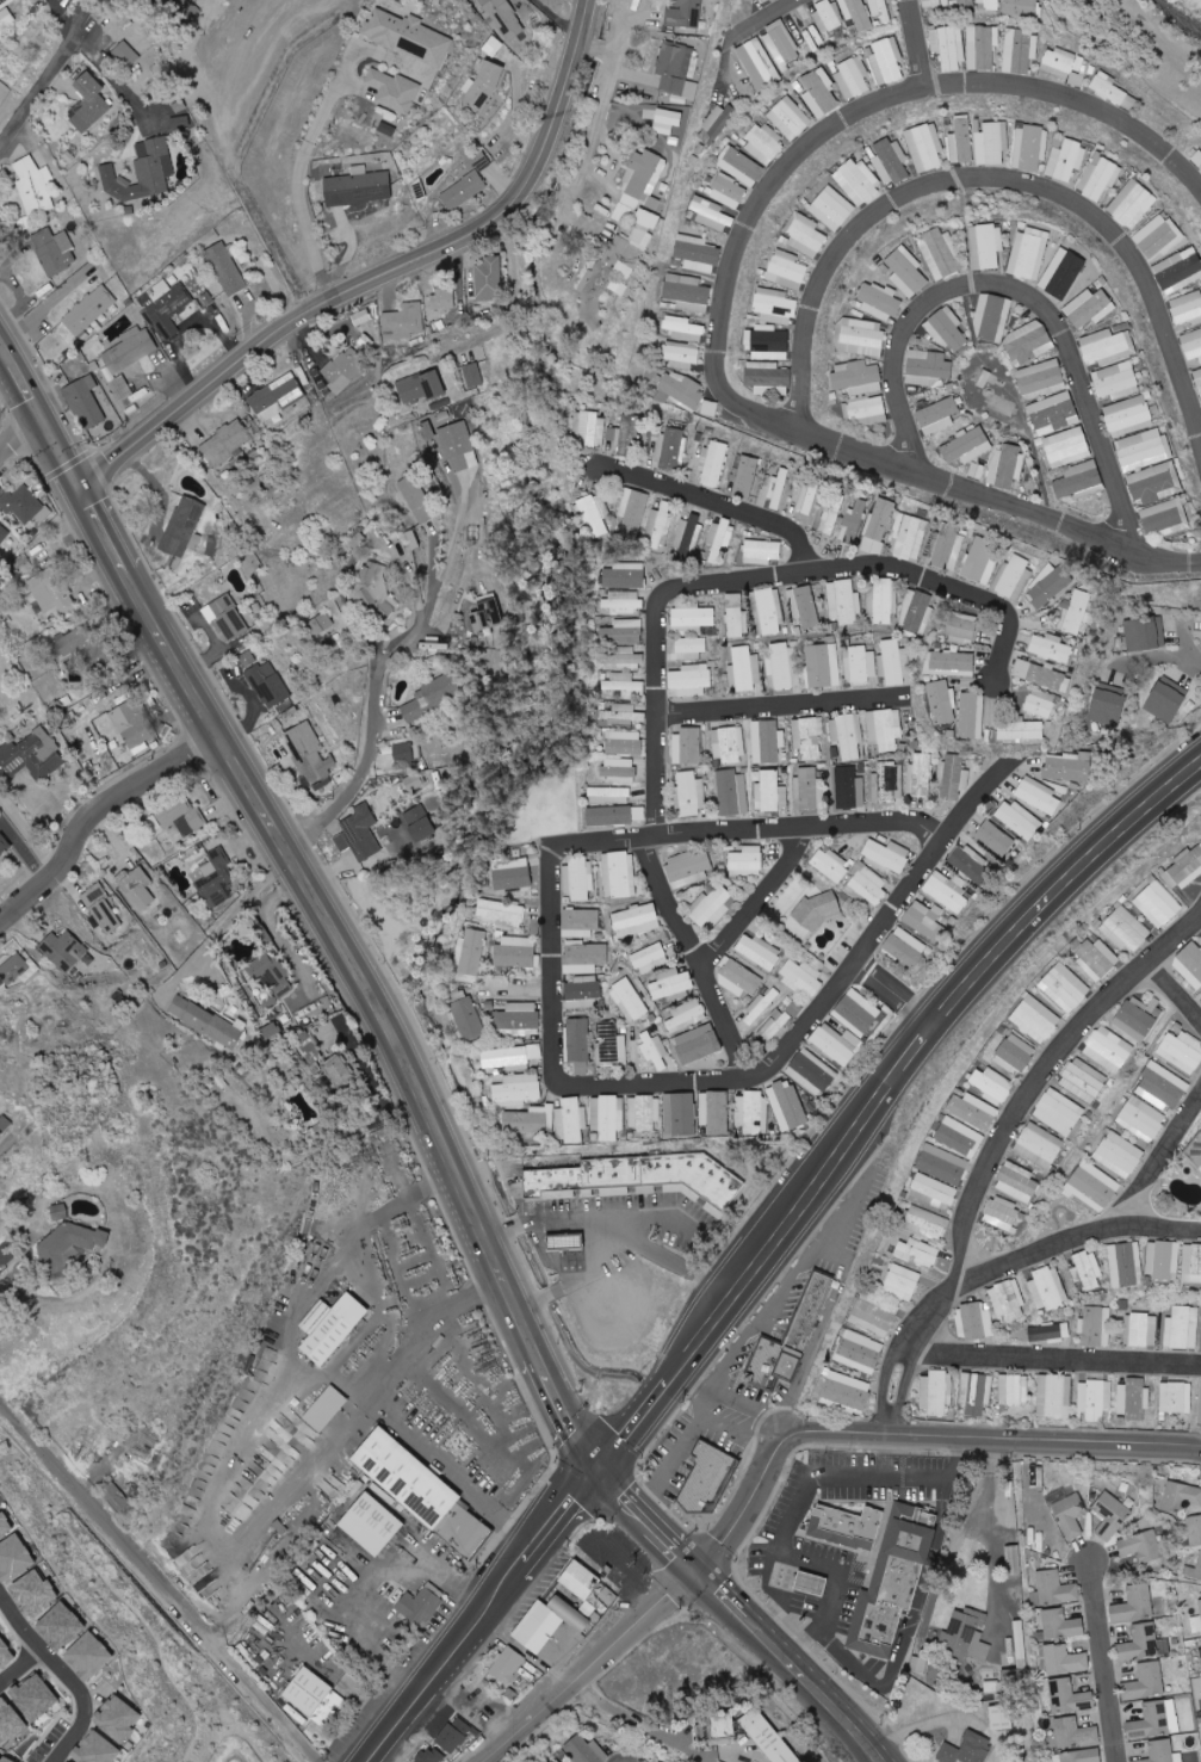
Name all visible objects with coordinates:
building: (766, 1)
building: (4, 2)
road: (82, 2)
building: (965, 2)
building: (931, 4)
building: (989, 5)
building: (1021, 7)
building: (880, 10)
road: (556, 13)
road: (576, 13)
building: (856, 13)
building: (685, 14)
building: (827, 16)
road: (778, 18)
building: (408, 36)
building: (782, 45)
building: (948, 45)
building: (982, 45)
road: (920, 47)
building: (1020, 50)
building: (125, 54)
building: (885, 60)
road: (104, 62)
building: (1058, 62)
building: (759, 64)
road: (43, 73)
building: (852, 76)
building: (482, 86)
building: (394, 89)
building: (1112, 91)
building: (819, 92)
building: (89, 103)
road: (872, 112)
building: (790, 117)
building: (667, 120)
building: (716, 123)
road: (595, 130)
building: (961, 140)
building: (991, 142)
building: (763, 143)
building: (925, 147)
building: (1029, 147)
road: (233, 157)
building: (1066, 160)
building: (890, 161)
building: (741, 166)
building: (141, 172)
building: (1100, 177)
road: (997, 178)
building: (643, 179)
road: (299, 181)
building: (468, 181)
building: (858, 181)
building: (32, 186)
building: (358, 187)
building: (728, 190)
building: (1132, 204)
building: (832, 208)
building: (711, 214)
building: (805, 234)
building: (1157, 236)
building: (986, 246)
building: (56, 252)
building: (698, 253)
building: (940, 253)
building: (1029, 253)
building: (227, 268)
building: (611, 270)
building: (624, 270)
building: (786, 270)
building: (1178, 270)
building: (906, 272)
building: (1064, 274)
building: (489, 278)
road: (374, 285)
building: (687, 292)
road: (1026, 296)
building: (442, 298)
road: (258, 299)
road: (516, 301)
building: (879, 301)
building: (166, 307)
building: (1089, 308)
building: (1187, 308)
road: (43, 310)
building: (89, 310)
building: (991, 317)
building: (403, 321)
building: (685, 329)
building: (947, 329)
building: (860, 336)
building: (769, 342)
building: (1028, 342)
road: (230, 344)
building: (1191, 344)
building: (1107, 346)
building: (130, 350)
building: (681, 357)
building: (928, 367)
building: (343, 369)
road: (173, 370)
building: (472, 375)
building: (858, 377)
building: (1199, 377)
building: (768, 378)
building: (1041, 379)
building: (1116, 381)
building: (420, 387)
building: (123, 390)
building: (680, 390)
building: (277, 397)
building: (85, 402)
building: (866, 410)
building: (1053, 413)
building: (937, 415)
building: (589, 428)
road: (19, 434)
building: (612, 434)
building: (629, 437)
building: (224, 444)
building: (458, 446)
building: (967, 446)
building: (1066, 447)
building: (671, 450)
building: (1144, 450)
building: (714, 464)
building: (1005, 465)
building: (745, 477)
building: (1081, 481)
building: (1154, 482)
building: (778, 490)
road: (970, 490)
road: (159, 491)
building: (809, 497)
building: (415, 499)
building: (24, 506)
road: (720, 506)
building: (632, 511)
building: (832, 513)
building: (593, 515)
building: (1165, 519)
building: (854, 521)
building: (878, 525)
building: (660, 526)
building: (182, 531)
building: (4, 533)
building: (687, 534)
building: (720, 537)
building: (910, 537)
building: (948, 549)
building: (761, 551)
building: (978, 558)
building: (625, 575)
building: (1014, 576)
building: (370, 581)
road: (749, 582)
road: (949, 587)
building: (1048, 587)
building: (52, 592)
building: (884, 600)
building: (621, 601)
building: (843, 602)
building: (803, 605)
building: (1076, 611)
building: (916, 612)
building: (736, 616)
building: (485, 617)
building: (693, 617)
building: (227, 618)
building: (320, 623)
building: (961, 627)
building: (1162, 630)
building: (623, 632)
building: (1141, 633)
road: (1193, 641)
building: (89, 644)
building: (688, 649)
building: (624, 657)
building: (248, 659)
building: (893, 662)
building: (860, 664)
building: (823, 666)
building: (782, 668)
building: (744, 669)
building: (1041, 675)
road: (379, 680)
building: (691, 680)
building: (268, 684)
building: (625, 685)
building: (428, 699)
building: (1166, 699)
building: (941, 701)
building: (1040, 703)
road: (259, 707)
building: (1107, 707)
road: (664, 709)
road: (788, 711)
building: (623, 713)
building: (970, 716)
building: (134, 724)
building: (884, 729)
building: (1020, 730)
building: (847, 735)
building: (807, 736)
building: (767, 741)
building: (624, 742)
building: (728, 744)
building: (687, 747)
building: (309, 752)
building: (403, 753)
building: (31, 755)
building: (1067, 766)
building: (619, 771)
building: (918, 775)
building: (952, 777)
building: (887, 783)
building: (810, 789)
building: (732, 792)
building: (772, 792)
building: (692, 793)
building: (612, 796)
building: (1039, 796)
road: (95, 809)
building: (607, 815)
building: (181, 817)
building: (1017, 820)
building: (419, 823)
road: (767, 833)
road: (961, 833)
building: (359, 834)
building: (995, 839)
building: (4, 845)
building: (886, 855)
building: (745, 861)
building: (830, 865)
building: (971, 865)
building: (688, 868)
building: (1183, 868)
road: (307, 877)
building: (510, 878)
building: (216, 879)
building: (581, 879)
building: (866, 884)
building: (138, 889)
building: (947, 891)
road: (764, 902)
building: (1157, 904)
building: (713, 908)
building: (101, 909)
building: (818, 911)
building: (500, 913)
building: (924, 920)
building: (636, 921)
building: (580, 922)
road: (227, 925)
building: (1125, 929)
building: (905, 947)
building: (62, 951)
building: (759, 951)
building: (516, 952)
building: (471, 956)
building: (583, 957)
road: (556, 958)
building: (650, 958)
road: (705, 958)
building: (1095, 958)
building: (1190, 964)
building: (13, 969)
building: (271, 976)
building: (738, 978)
building: (800, 978)
building: (670, 984)
road: (1177, 987)
building: (1064, 988)
building: (582, 993)
road: (899, 994)
road: (832, 995)
building: (629, 1000)
building: (855, 1013)
building: (687, 1016)
building: (469, 1018)
building: (518, 1019)
building: (1035, 1019)
building: (1135, 1019)
building: (208, 1021)
building: (778, 1022)
building: (836, 1043)
building: (578, 1044)
building: (609, 1045)
building: (698, 1046)
road: (921, 1049)
building: (1108, 1049)
building: (655, 1051)
building: (1181, 1051)
building: (1015, 1055)
building: (512, 1057)
building: (336, 1069)
building: (811, 1071)
road: (1048, 1078)
building: (1083, 1080)
road: (655, 1084)
building: (991, 1084)
building: (1163, 1084)
building: (518, 1089)
building: (787, 1106)
building: (972, 1109)
building: (714, 1112)
building: (1059, 1112)
building: (594, 1113)
building: (643, 1113)
building: (680, 1114)
building: (611, 1118)
building: (1141, 1119)
building: (528, 1121)
building: (571, 1121)
building: (4, 1126)
building: (959, 1137)
building: (1040, 1145)
building: (1120, 1154)
building: (1195, 1154)
building: (942, 1164)
road: (1163, 1173)
building: (644, 1176)
building: (1016, 1181)
building: (1094, 1186)
building: (674, 1188)
building: (934, 1192)
road: (823, 1211)
building: (1002, 1213)
road: (595, 1218)
road: (619, 1218)
road: (371, 1222)
building: (925, 1223)
building: (568, 1239)
gas station: (568, 1239)
building: (69, 1241)
building: (917, 1253)
parking lot: (621, 1255)
building: (1163, 1260)
building: (1191, 1263)
building: (1126, 1265)
road: (996, 1268)
building: (1087, 1271)
building: (902, 1281)
road: (7, 1285)
building: (1047, 1288)
building: (1009, 1300)
building: (874, 1315)
building: (974, 1322)
road: (823, 1324)
building: (329, 1327)
building: (1096, 1327)
building: (1182, 1328)
building: (1048, 1333)
road: (434, 1334)
road: (750, 1334)
building: (790, 1337)
parking lot: (755, 1338)
building: (859, 1352)
road: (304, 1359)
road: (1054, 1365)
building: (1014, 1390)
building: (846, 1392)
building: (936, 1392)
road: (733, 1393)
building: (976, 1393)
building: (1054, 1396)
building: (1176, 1397)
building: (1095, 1399)
building: (1133, 1399)
building: (326, 1409)
building: (1200, 1412)
road: (642, 1418)
road: (738, 1424)
road: (348, 1433)
road: (992, 1438)
road: (589, 1449)
road: (235, 1452)
road: (855, 1473)
building: (708, 1476)
road: (589, 1484)
building: (426, 1490)
building: (1181, 1496)
building: (114, 1497)
road: (749, 1498)
building: (1070, 1516)
building: (1110, 1516)
road: (651, 1520)
building: (4, 1525)
building: (370, 1525)
building: (1194, 1531)
road: (995, 1532)
building: (1141, 1547)
road: (790, 1553)
building: (13, 1558)
parking lot: (838, 1569)
building: (878, 1570)
building: (1199, 1570)
road: (632, 1571)
road: (363, 1574)
building: (581, 1577)
road: (160, 1581)
building: (810, 1584)
road: (681, 1587)
parking lot: (538, 1589)
building: (1055, 1589)
gas station: (807, 1590)
building: (31, 1594)
building: (598, 1602)
building: (421, 1603)
building: (1134, 1605)
building: (1200, 1605)
building: (1061, 1625)
building: (1195, 1625)
building: (58, 1627)
road: (469, 1627)
building: (550, 1634)
building: (966, 1634)
road: (832, 1636)
building: (1144, 1644)
road: (526, 1647)
building: (5, 1653)
building: (87, 1657)
building: (1064, 1661)
road: (1104, 1661)
building: (507, 1665)
road: (792, 1665)
road: (20, 1667)
road: (66, 1675)
road: (347, 1680)
road: (571, 1682)
building: (1146, 1682)
building: (1071, 1696)
building: (32, 1698)
building: (314, 1698)
building: (1001, 1718)
building: (116, 1719)
building: (1156, 1720)
road: (644, 1721)
building: (8, 1723)
building: (724, 1726)
building: (1073, 1733)
building: (453, 1735)
building: (768, 1737)
building: (94, 1749)
building: (586, 1750)
building: (966, 1750)
building: (1162, 1751)
building: (431, 1756)
building: (1082, 1756)
building: (2, 1760)
building: (64, 1761)
building: (556, 1761)

